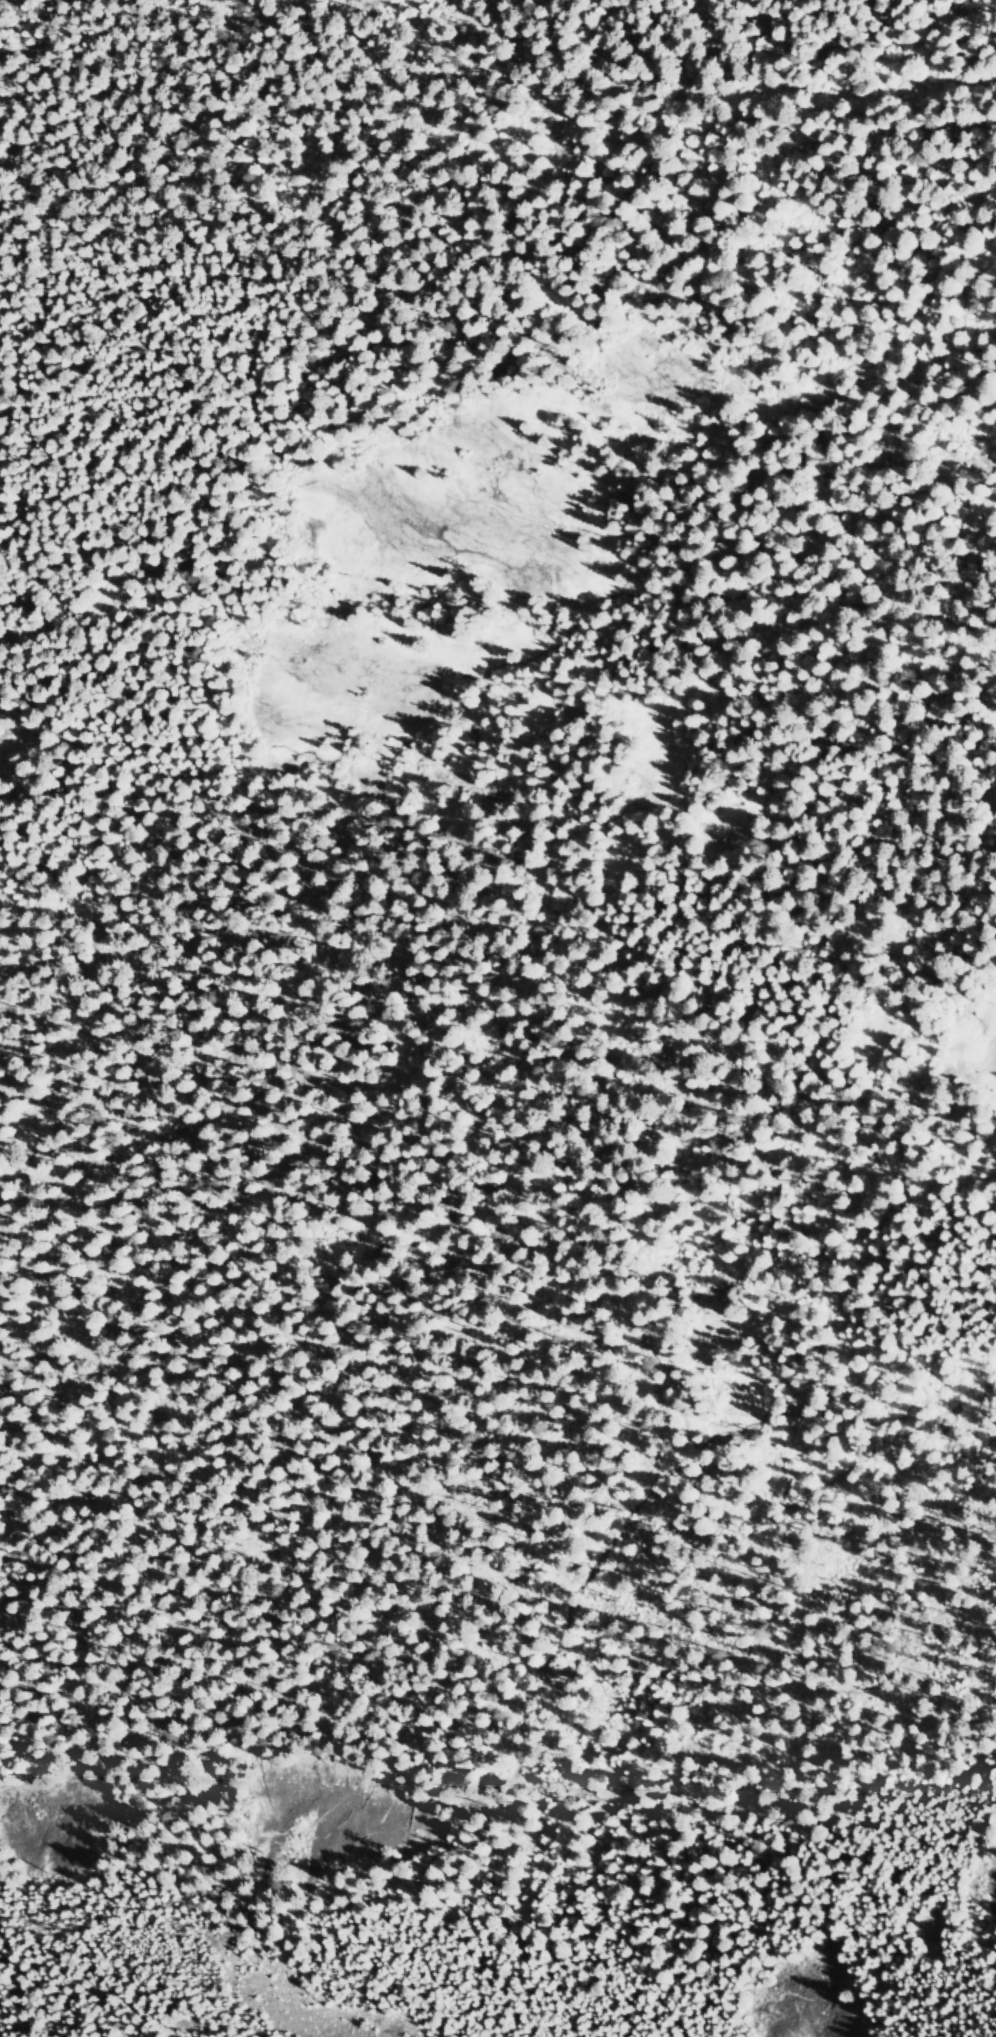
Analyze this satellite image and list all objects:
road: (437, 1268)

